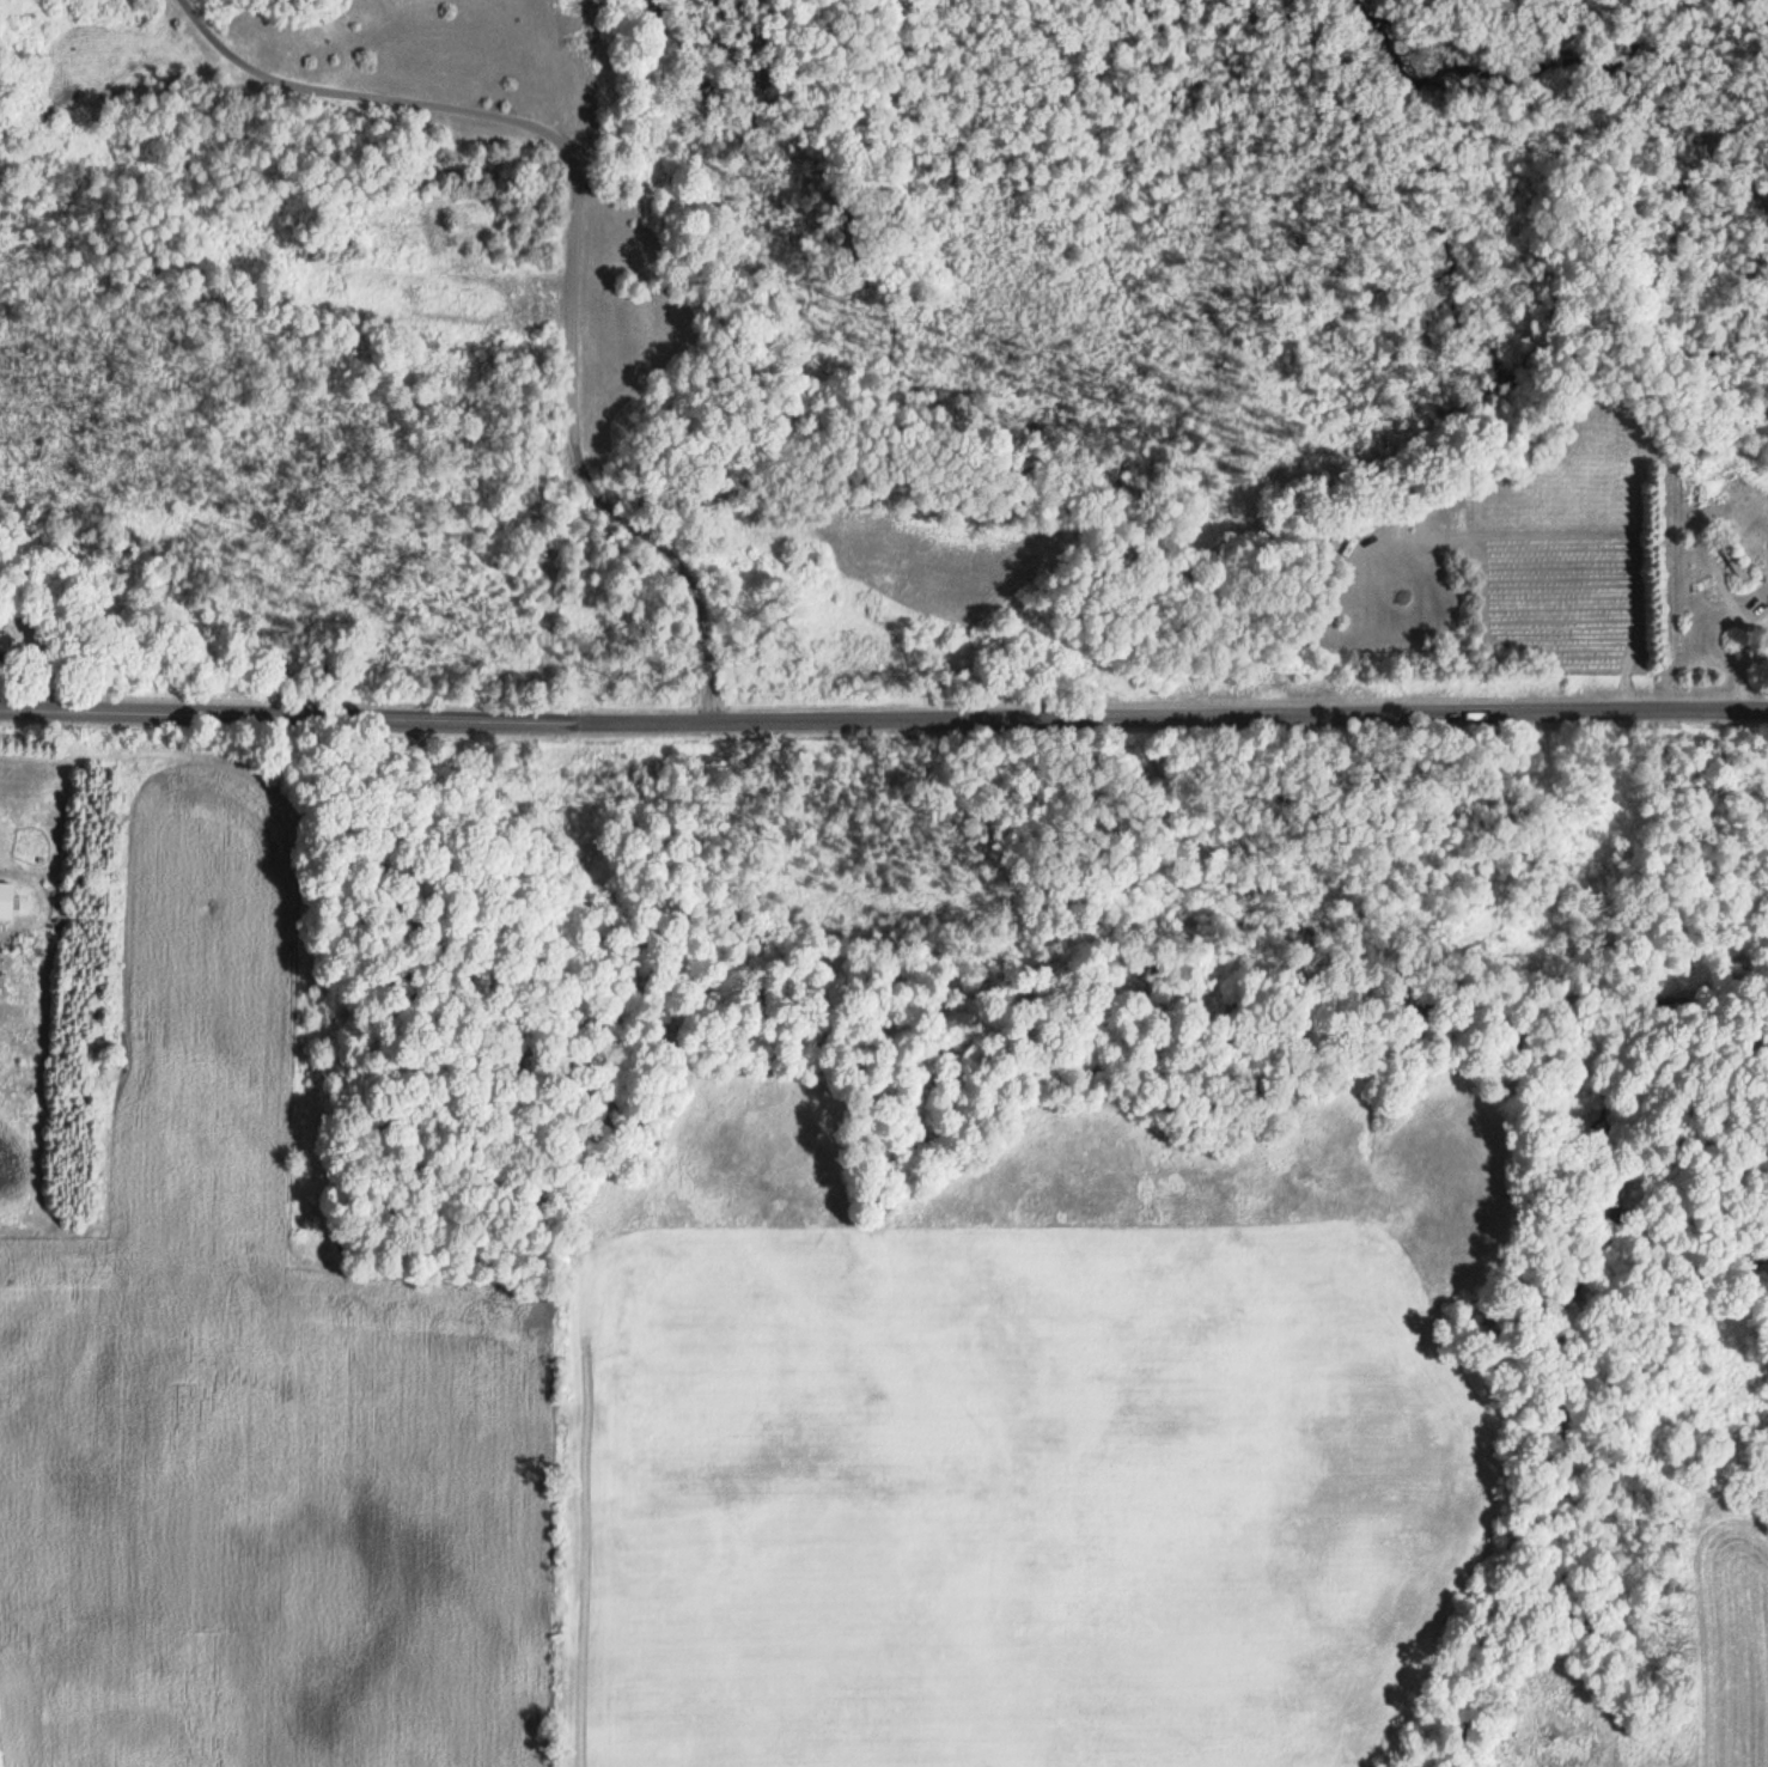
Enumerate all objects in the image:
building: (1732, 557)
building: (4, 645)
road: (109, 711)
road: (993, 715)
building: (7, 901)

